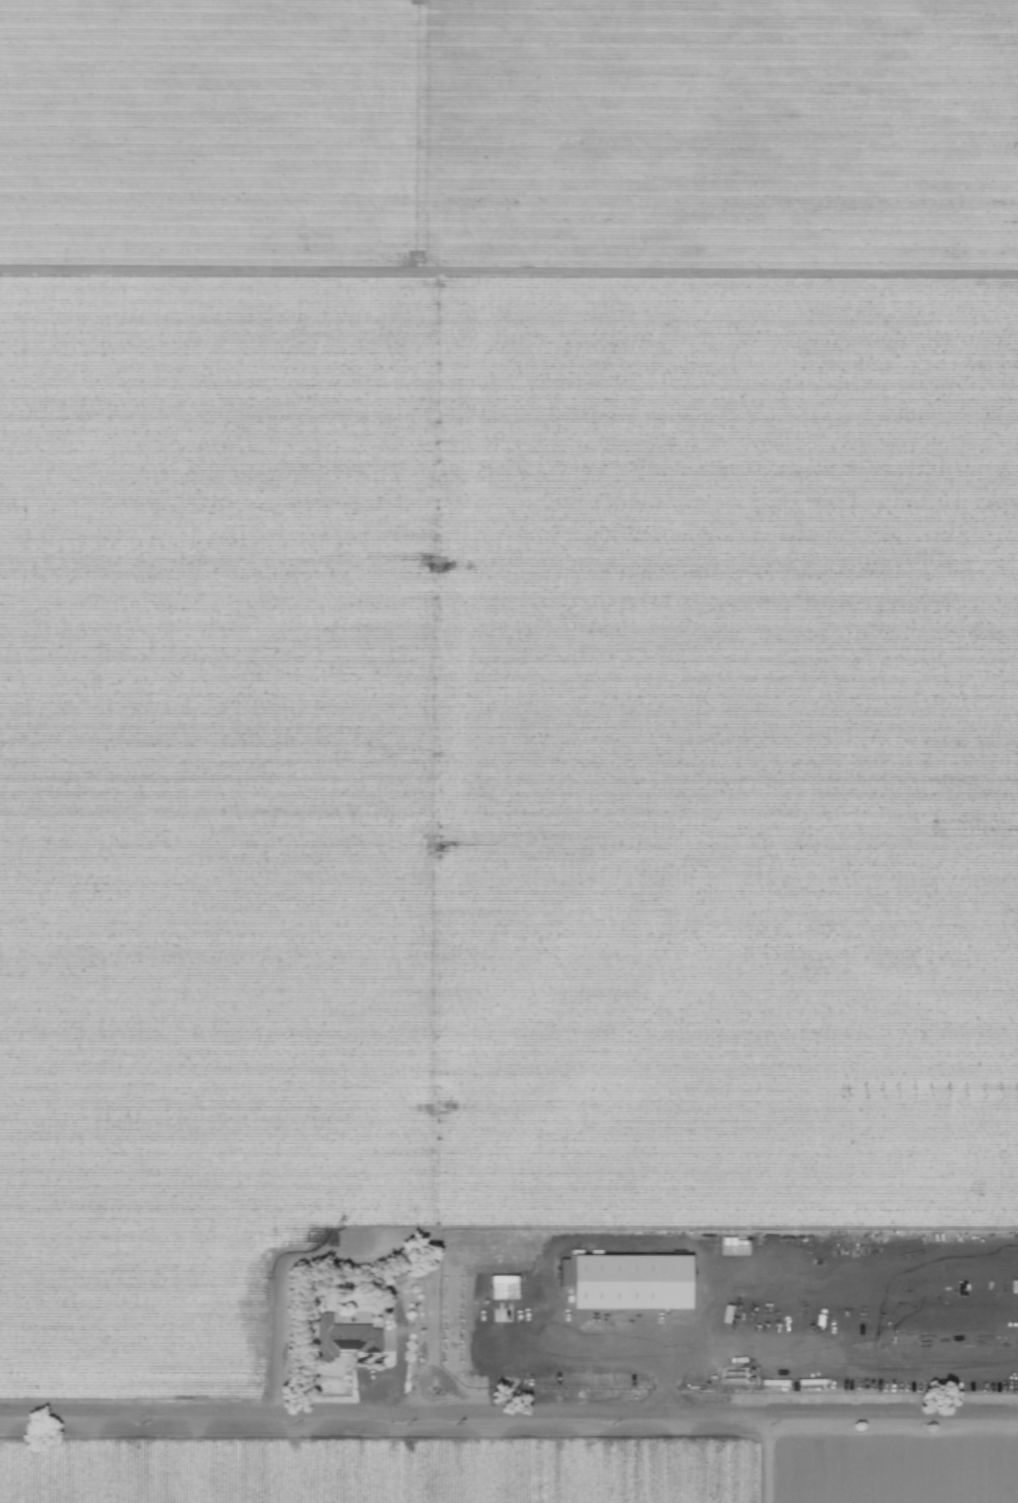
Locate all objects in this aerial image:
building: (342, 1338)
road: (644, 1354)
road: (508, 1414)
road: (764, 1458)

